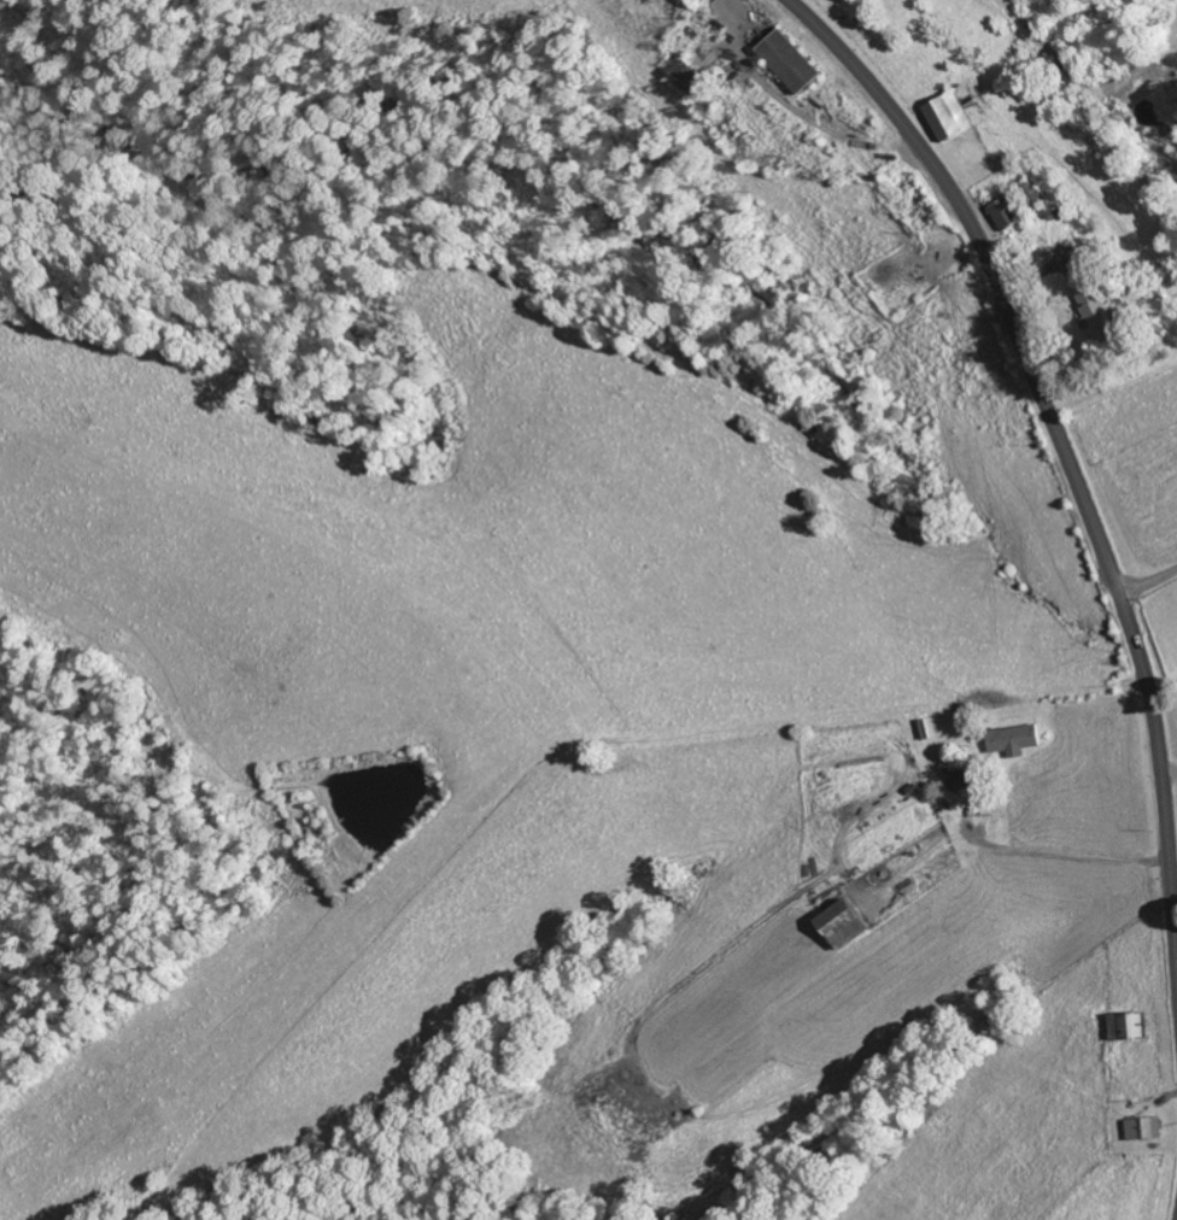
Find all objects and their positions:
building: (792, 61)
building: (696, 77)
building: (955, 115)
building: (1006, 215)
building: (1095, 313)
road: (1062, 454)
building: (1017, 740)
building: (964, 779)
building: (847, 925)
building: (1129, 1025)
building: (1146, 1128)

